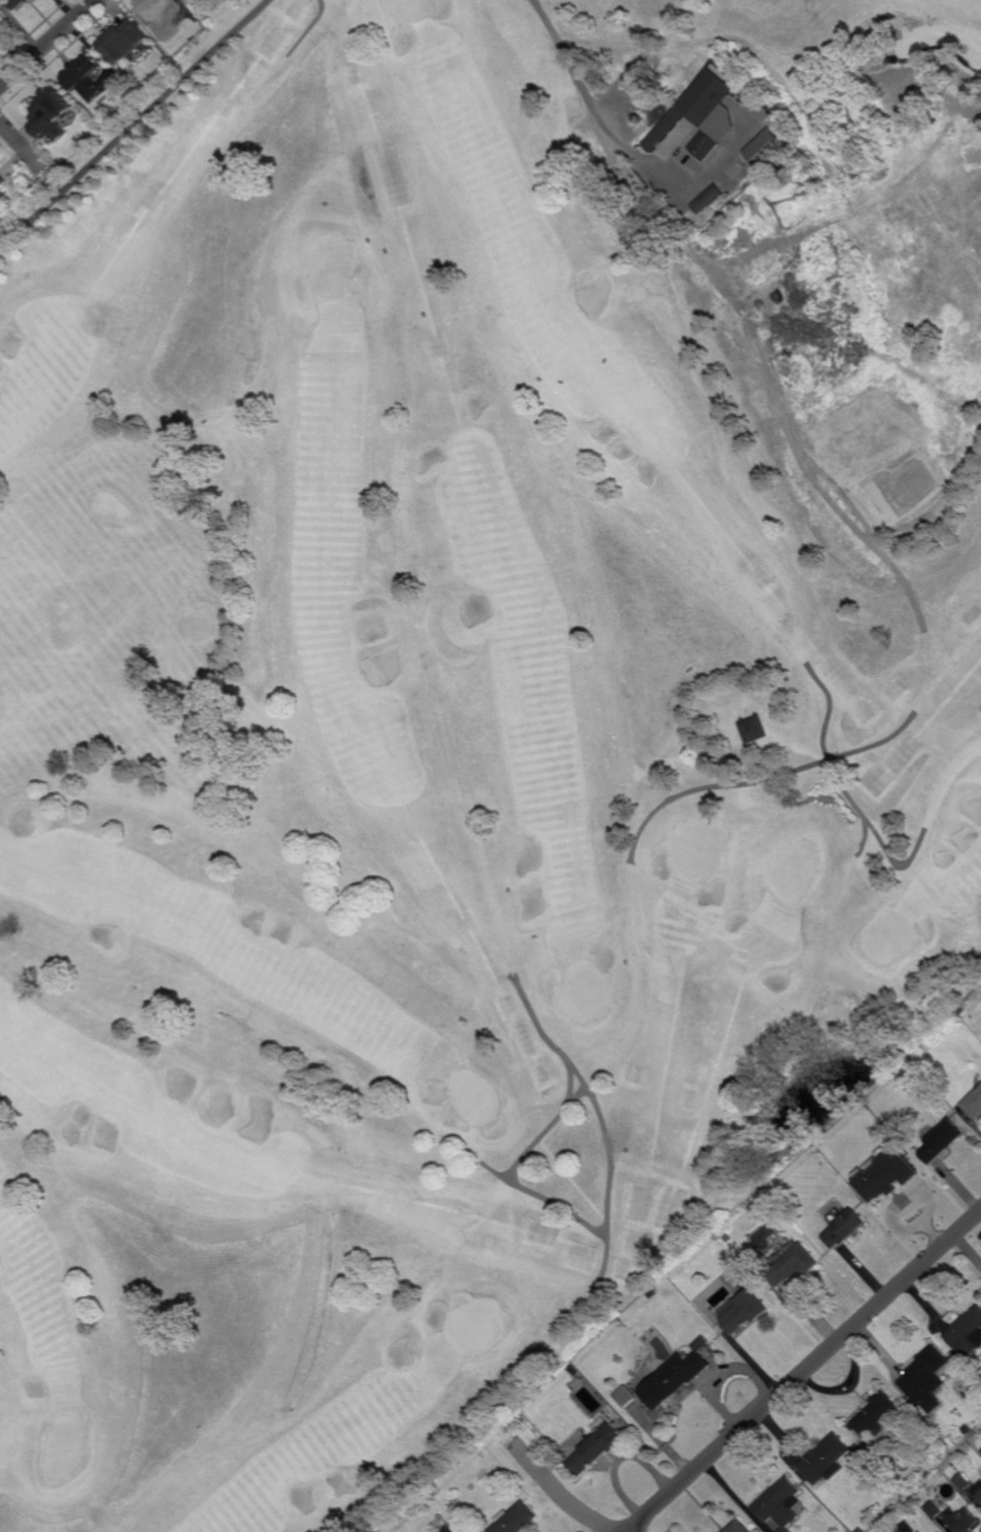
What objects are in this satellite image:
building: (197, 1)
building: (16, 3)
building: (158, 16)
building: (1, 25)
building: (0, 33)
building: (125, 43)
road: (50, 46)
building: (85, 79)
road: (592, 101)
building: (51, 109)
building: (705, 116)
road: (134, 125)
road: (22, 145)
building: (767, 150)
building: (2, 180)
building: (709, 199)
road: (745, 307)
park: (463, 709)
building: (754, 729)
road: (828, 760)
road: (765, 783)
park: (891, 938)
building: (962, 1011)
road: (551, 1042)
road: (575, 1099)
building: (973, 1106)
building: (943, 1138)
building: (820, 1145)
road: (496, 1172)
building: (896, 1183)
building: (846, 1226)
building: (730, 1237)
building: (797, 1263)
building: (654, 1292)
building: (747, 1309)
building: (967, 1332)
road: (805, 1372)
building: (678, 1375)
building: (926, 1380)
building: (627, 1396)
building: (876, 1415)
building: (968, 1429)
building: (598, 1446)
building: (826, 1460)
building: (927, 1474)
building: (963, 1482)
building: (436, 1489)
building: (978, 1491)
road: (560, 1492)
building: (784, 1505)
building: (935, 1510)
building: (516, 1519)
building: (962, 1519)
building: (742, 1527)
building: (883, 1528)
building: (907, 1528)
building: (861, 1530)

